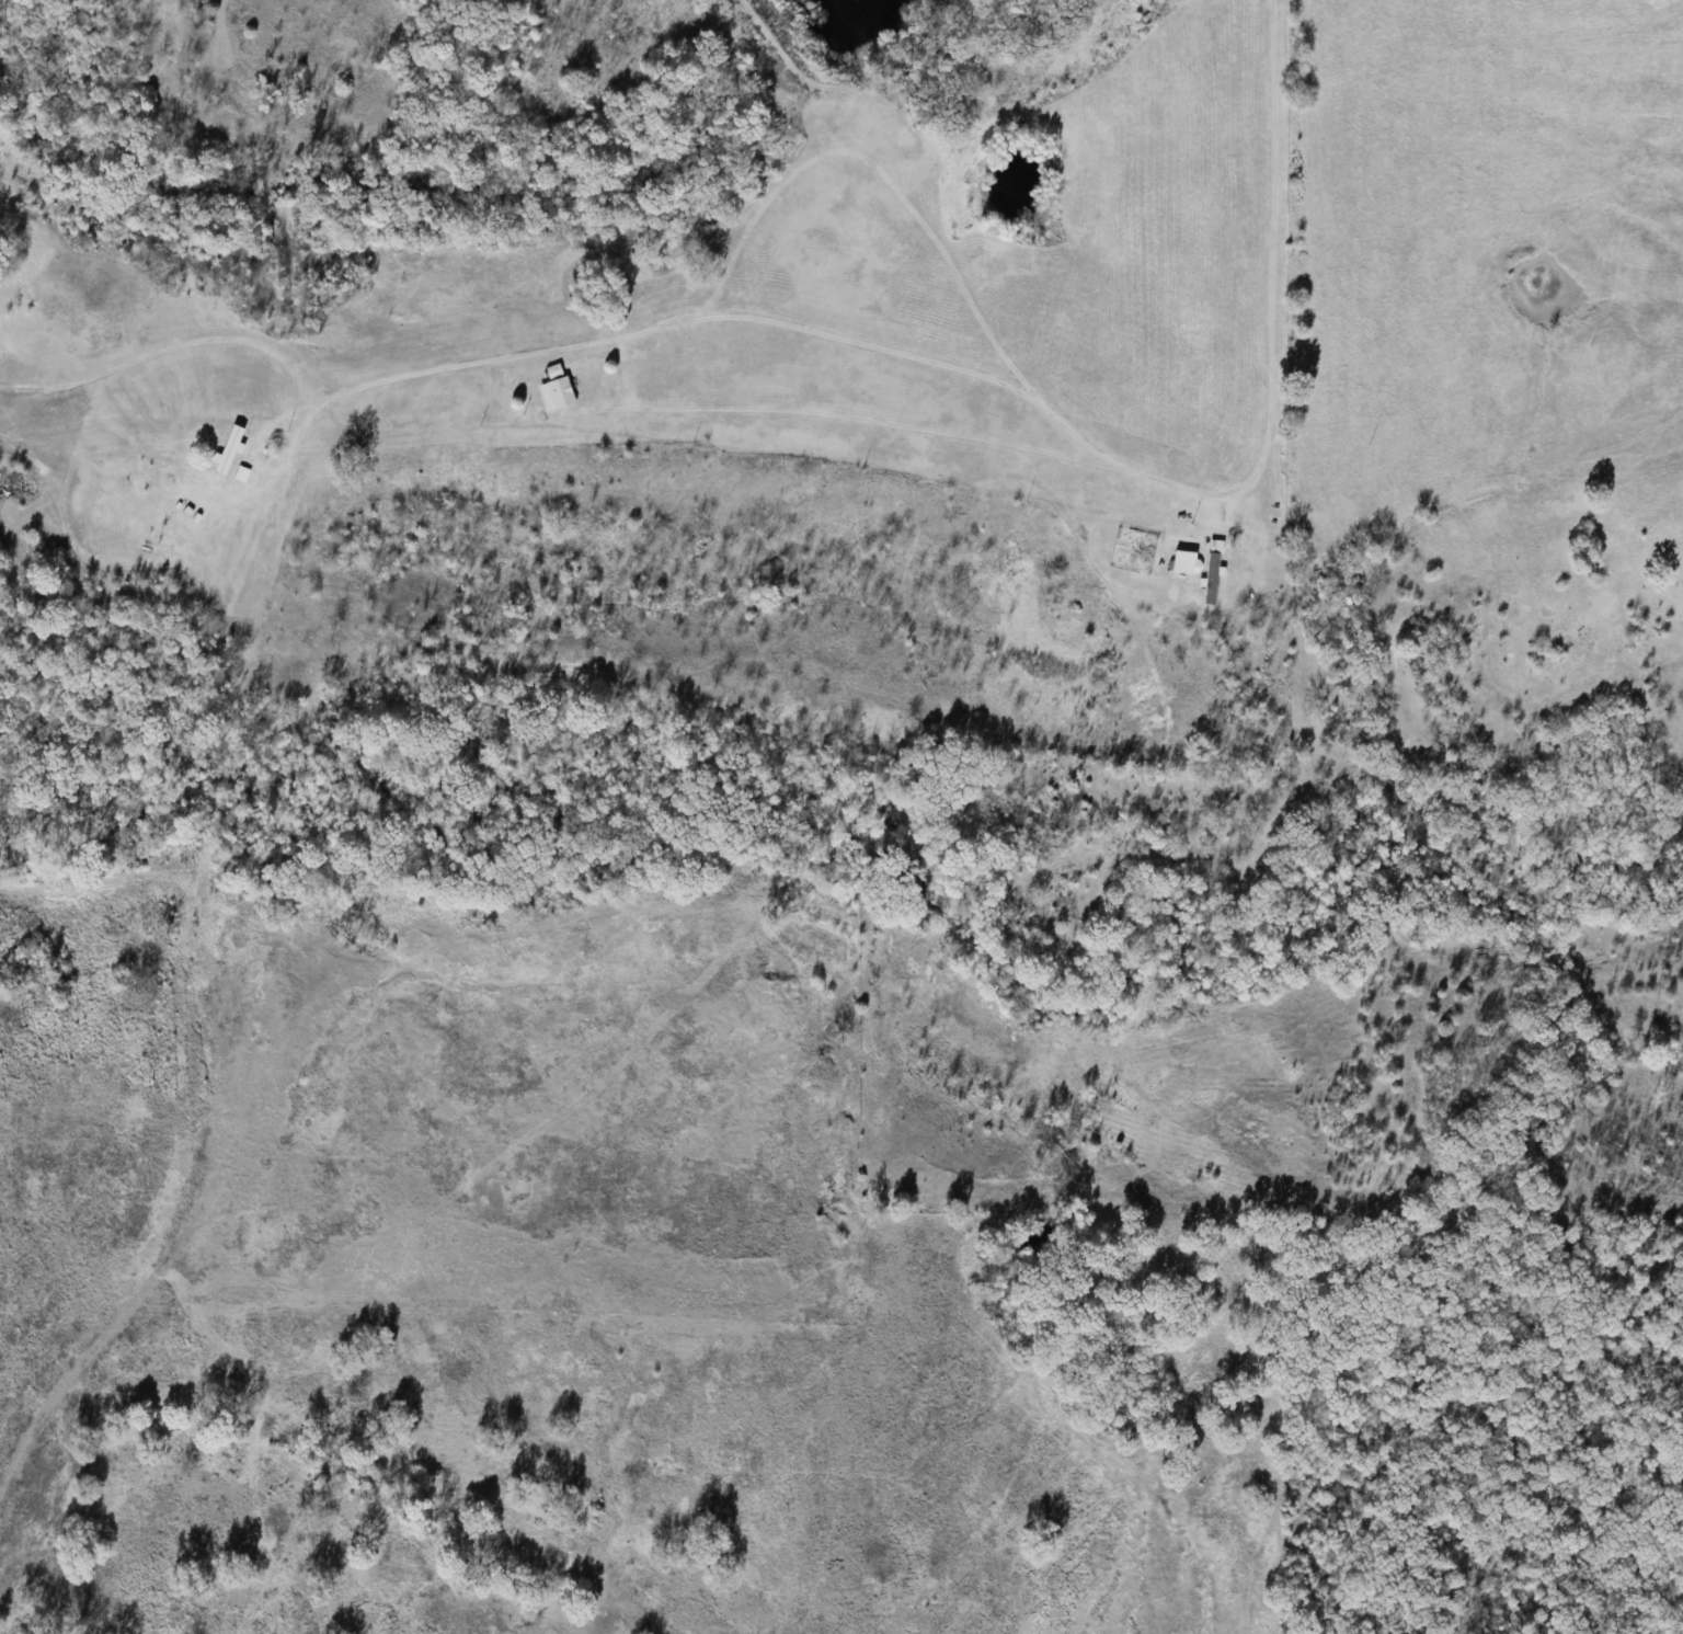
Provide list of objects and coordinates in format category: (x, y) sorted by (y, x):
road: (1271, 328)
building: (551, 391)
road: (628, 411)
building: (231, 456)
building: (1179, 564)
building: (1205, 581)
road: (176, 1250)

